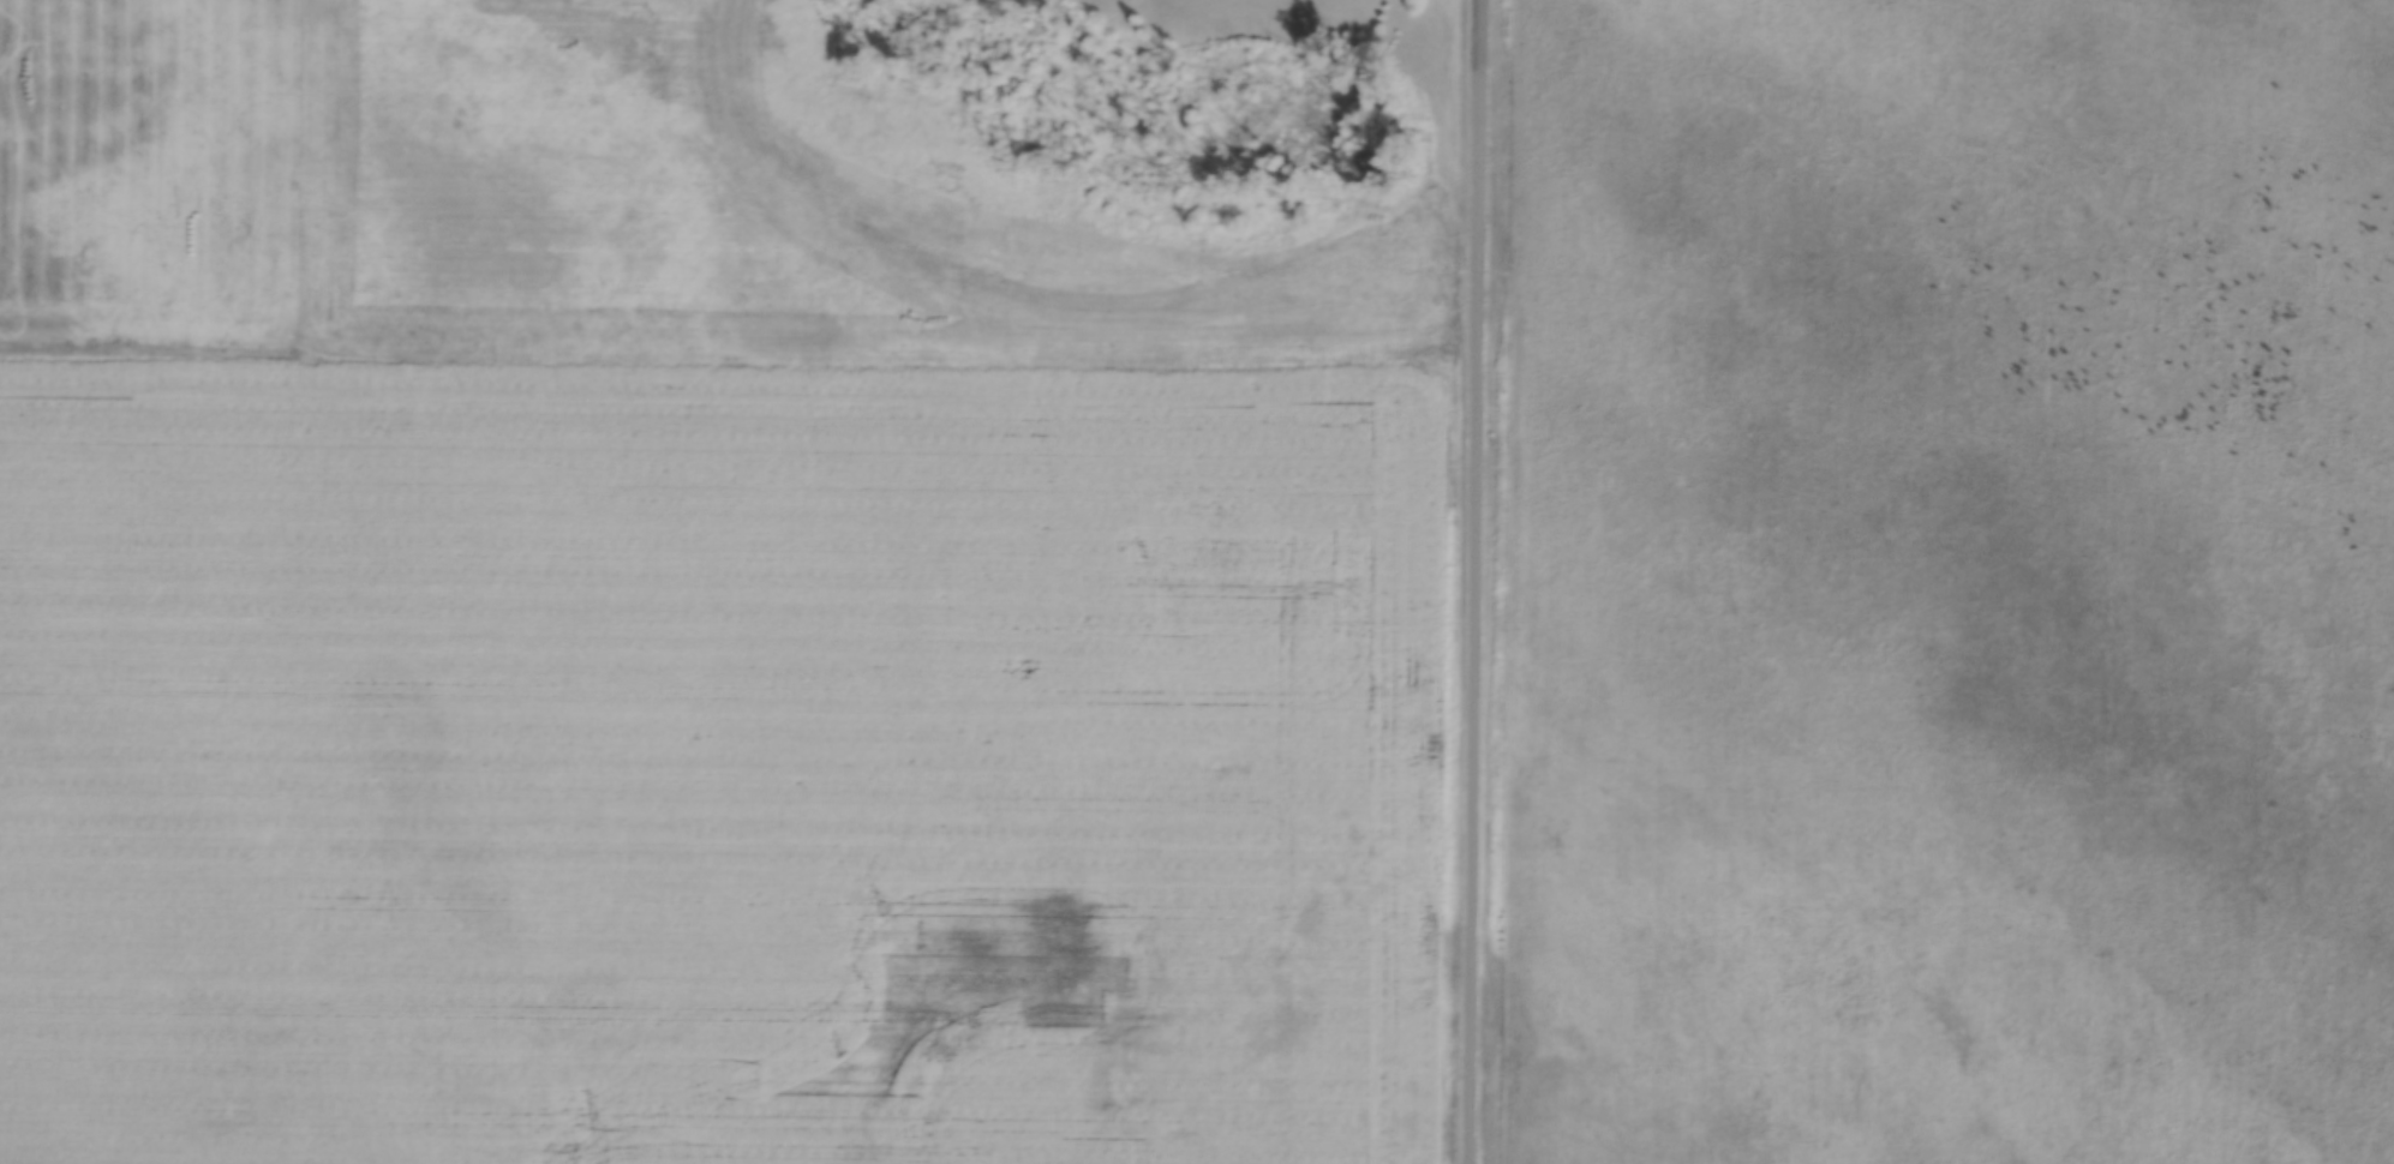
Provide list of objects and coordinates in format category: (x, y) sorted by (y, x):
road: (1472, 581)

